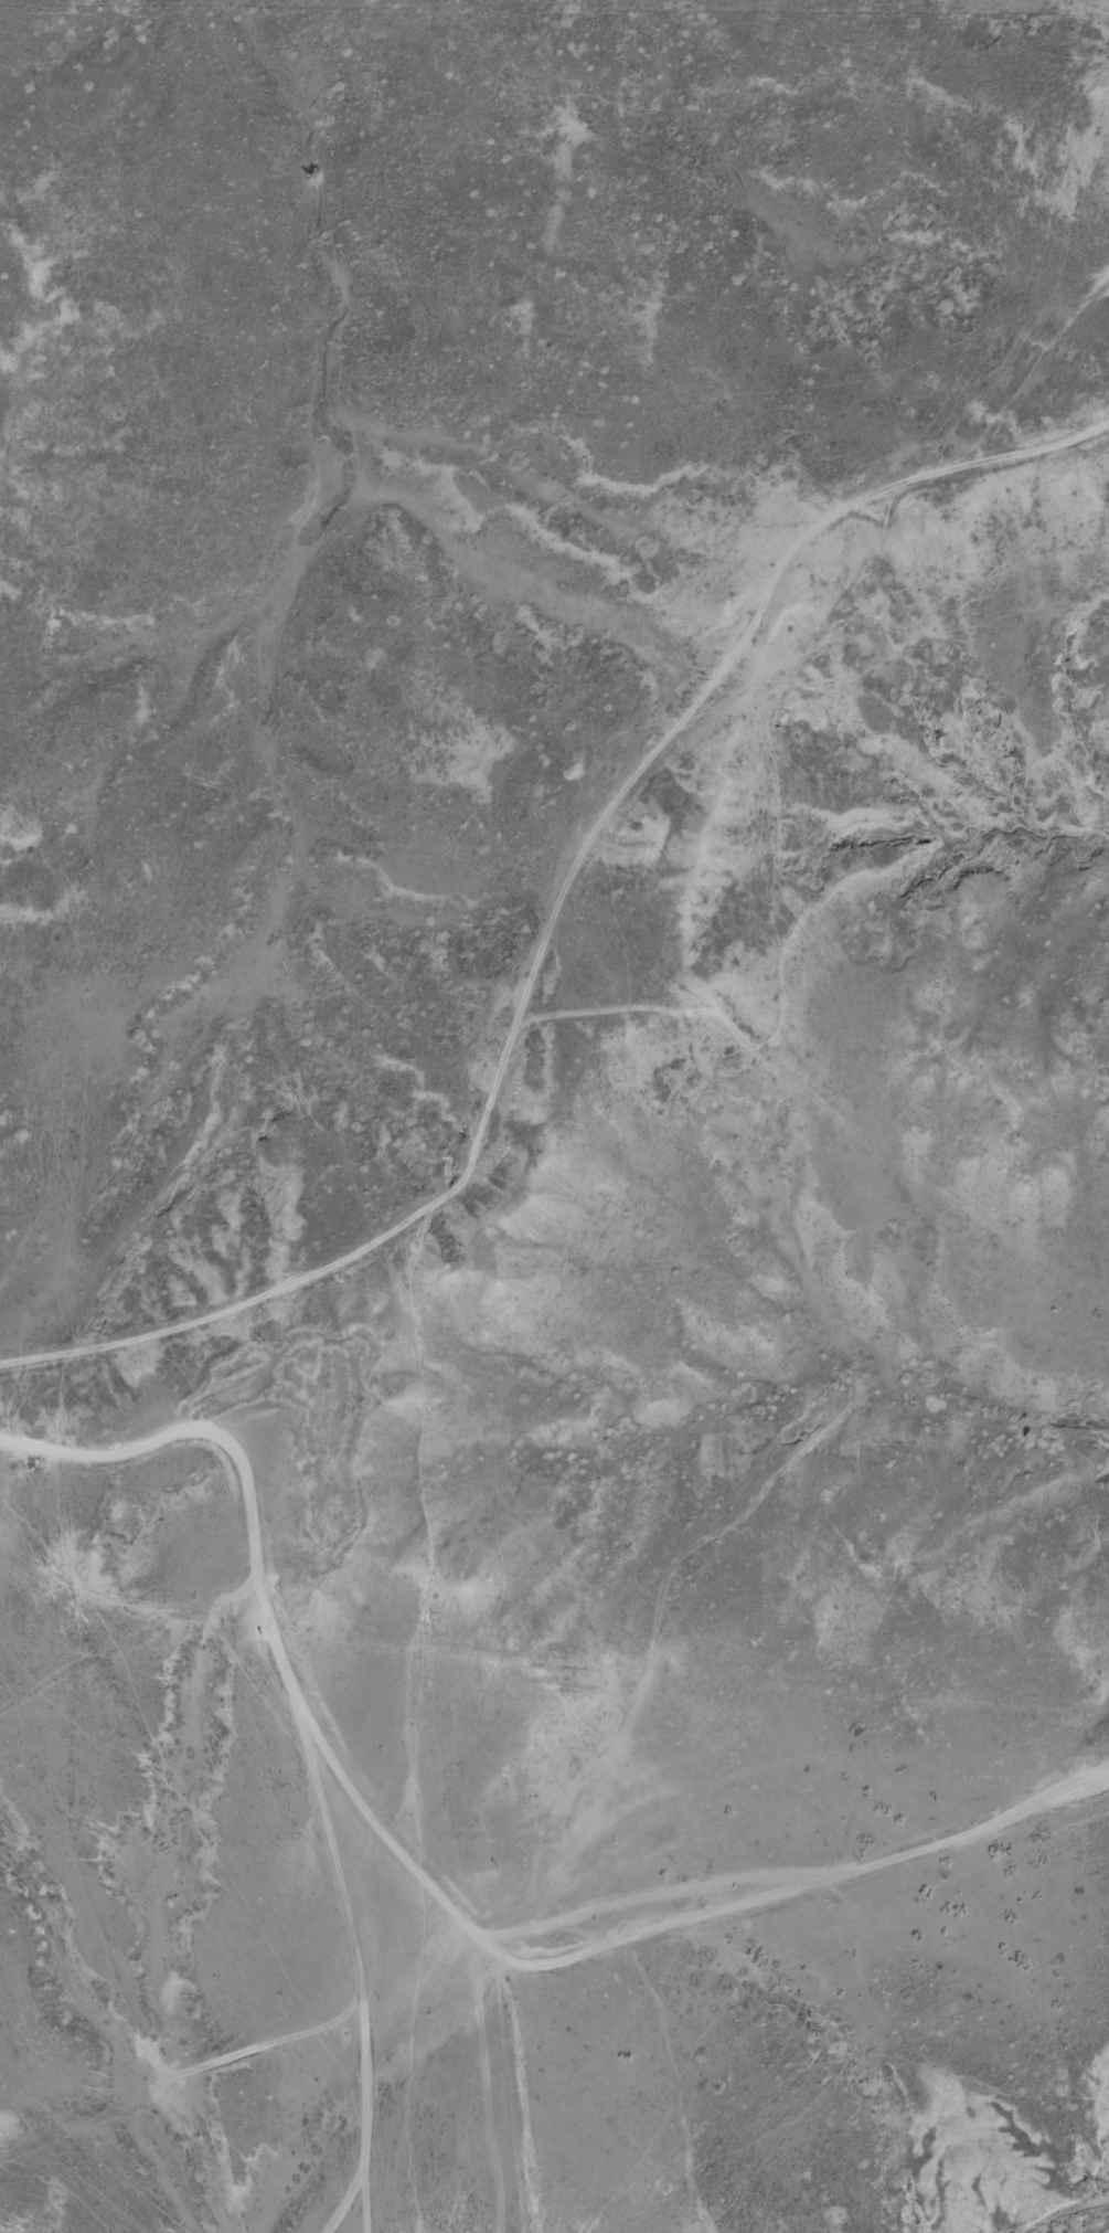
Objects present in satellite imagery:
road: (341, 1748)
road: (724, 1890)

